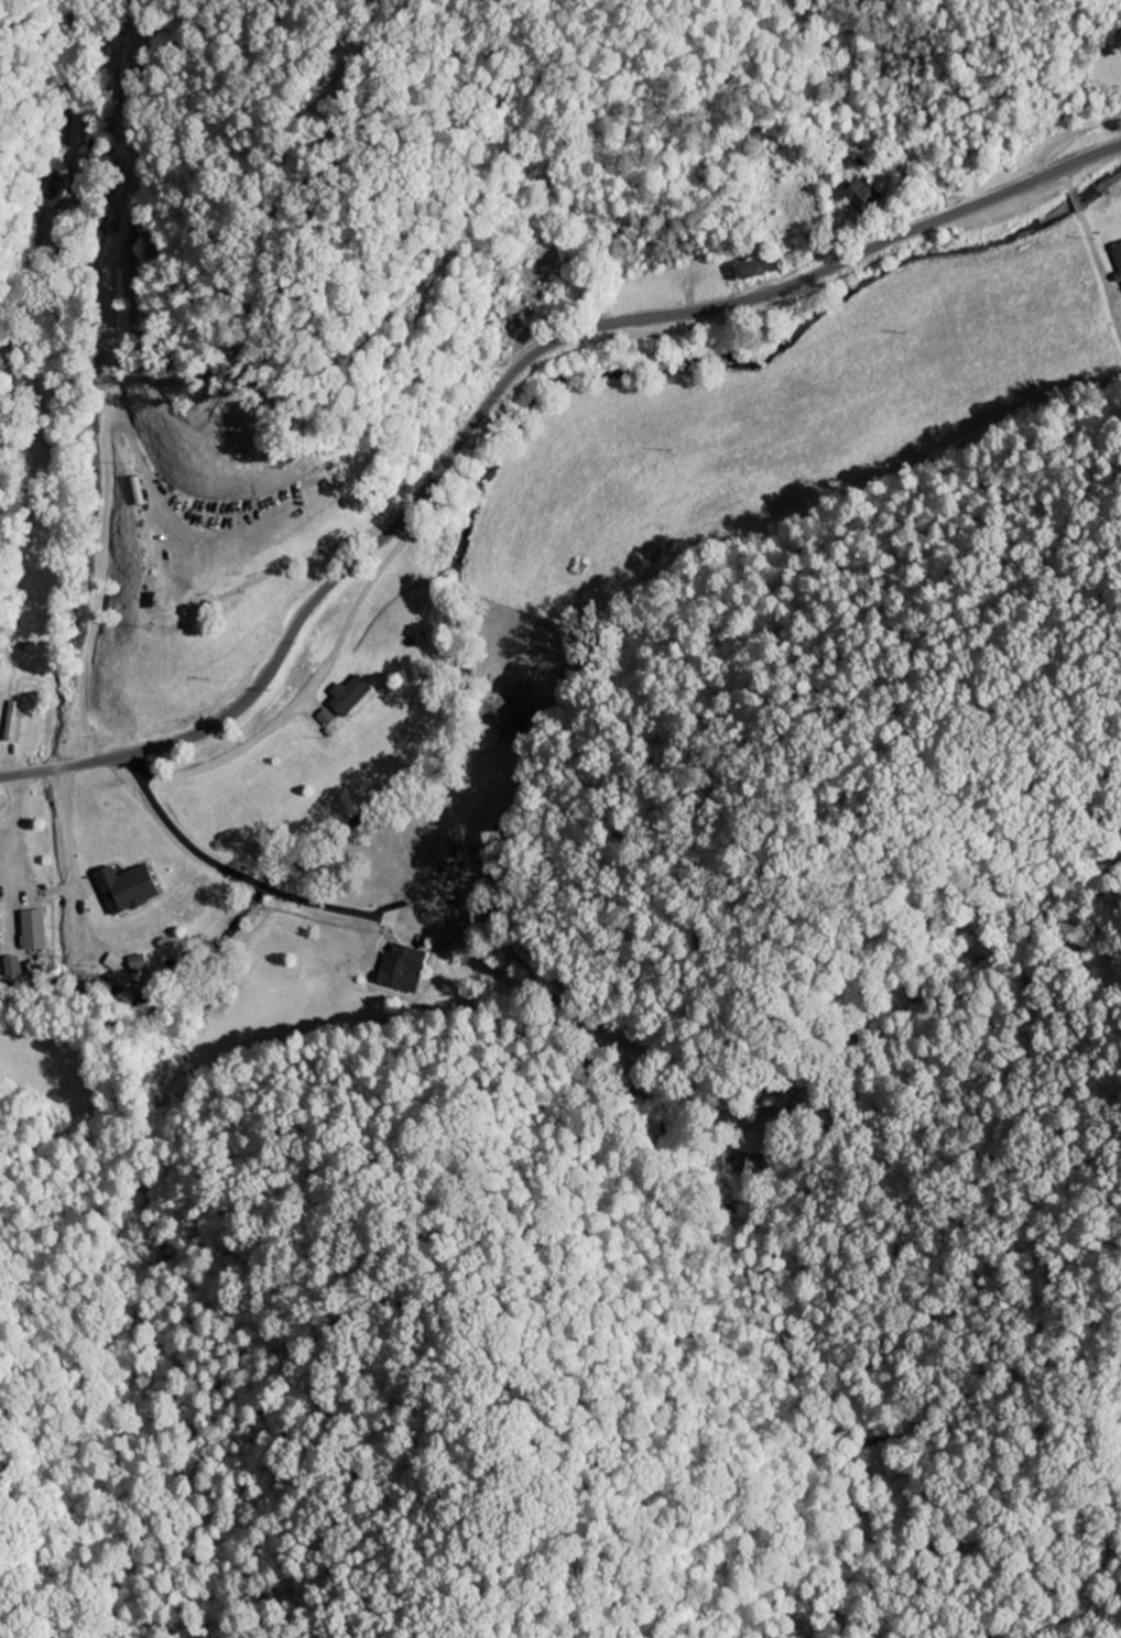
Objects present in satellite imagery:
park: (1108, 62)
road: (1067, 134)
building: (861, 194)
building: (1117, 256)
road: (502, 386)
building: (346, 695)
building: (324, 718)
building: (10, 720)
building: (123, 888)
building: (31, 929)
building: (111, 962)
building: (134, 965)
building: (399, 969)

